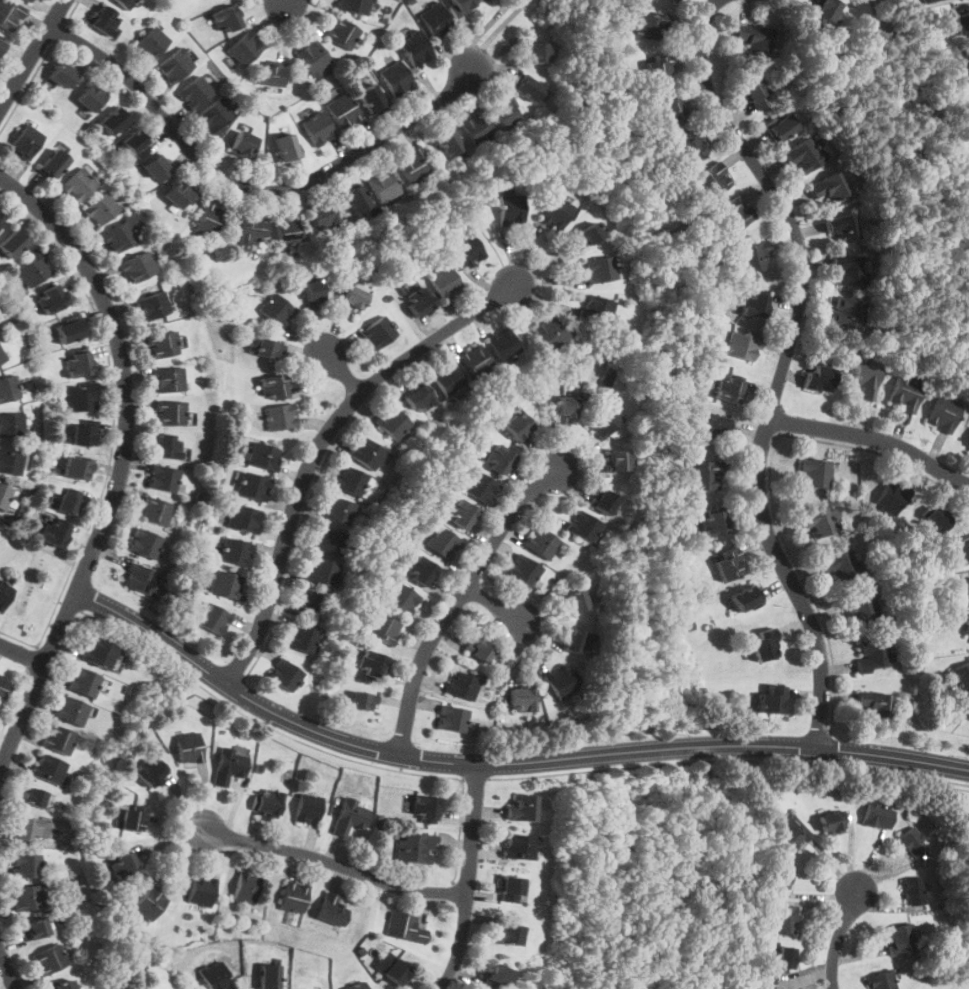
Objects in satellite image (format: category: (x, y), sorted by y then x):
building: (28, 0)
building: (29, 0)
building: (676, 0)
building: (928, 0)
road: (288, 2)
building: (127, 3)
building: (462, 5)
building: (355, 6)
building: (824, 11)
building: (9, 15)
building: (226, 18)
building: (104, 19)
building: (436, 19)
building: (962, 21)
building: (651, 27)
road: (495, 31)
building: (341, 32)
building: (751, 36)
building: (151, 42)
building: (1, 44)
building: (245, 48)
building: (416, 48)
building: (537, 52)
road: (33, 54)
building: (313, 56)
building: (964, 64)
building: (175, 66)
building: (659, 68)
building: (63, 74)
building: (273, 74)
building: (396, 78)
building: (527, 88)
building: (194, 92)
building: (756, 94)
building: (91, 97)
building: (371, 97)
building: (343, 111)
building: (670, 111)
building: (504, 114)
building: (216, 115)
building: (114, 120)
building: (782, 127)
building: (318, 128)
building: (476, 128)
building: (26, 140)
building: (448, 141)
building: (137, 144)
building: (243, 144)
building: (691, 145)
building: (286, 147)
building: (804, 155)
building: (53, 163)
building: (413, 166)
building: (157, 168)
building: (712, 180)
building: (383, 184)
building: (78, 185)
building: (829, 186)
road: (250, 188)
building: (180, 195)
building: (356, 199)
building: (100, 209)
building: (511, 209)
building: (555, 212)
building: (732, 214)
building: (323, 216)
building: (1, 218)
building: (210, 220)
building: (842, 226)
building: (288, 230)
building: (253, 231)
building: (121, 234)
building: (588, 234)
building: (13, 242)
building: (468, 249)
building: (754, 254)
building: (138, 266)
building: (600, 269)
building: (848, 269)
building: (34, 270)
building: (444, 281)
building: (314, 293)
building: (51, 298)
building: (354, 298)
building: (420, 301)
building: (758, 304)
building: (154, 305)
building: (597, 308)
building: (276, 309)
building: (847, 312)
building: (69, 330)
building: (378, 332)
building: (551, 333)
building: (163, 344)
building: (503, 344)
building: (742, 346)
building: (267, 348)
building: (2, 356)
building: (476, 362)
building: (78, 364)
road: (783, 365)
road: (343, 372)
building: (820, 377)
building: (447, 378)
building: (169, 379)
building: (865, 380)
building: (274, 387)
building: (8, 388)
building: (730, 389)
building: (906, 391)
building: (80, 398)
building: (420, 398)
building: (567, 408)
building: (170, 413)
building: (943, 413)
building: (280, 416)
building: (603, 421)
building: (392, 422)
building: (11, 424)
building: (518, 426)
building: (711, 426)
building: (82, 434)
road: (874, 437)
road: (320, 444)
building: (168, 446)
building: (367, 453)
building: (263, 455)
building: (500, 460)
building: (10, 461)
building: (618, 461)
road: (123, 466)
building: (77, 468)
building: (814, 473)
building: (705, 475)
building: (163, 478)
building: (349, 480)
building: (253, 486)
building: (481, 488)
building: (72, 492)
building: (4, 496)
building: (891, 498)
building: (604, 502)
building: (69, 503)
building: (338, 510)
building: (156, 511)
building: (461, 513)
building: (244, 518)
building: (934, 520)
building: (820, 521)
building: (714, 523)
building: (584, 527)
building: (54, 532)
building: (328, 541)
building: (443, 542)
building: (145, 543)
building: (542, 543)
building: (962, 551)
building: (237, 552)
building: (729, 564)
building: (841, 565)
building: (523, 570)
building: (422, 571)
building: (321, 572)
building: (139, 578)
building: (226, 584)
building: (962, 591)
building: (5, 594)
building: (746, 598)
building: (402, 599)
road: (457, 599)
building: (574, 601)
building: (313, 603)
road: (494, 604)
building: (861, 610)
building: (214, 618)
building: (968, 624)
building: (382, 628)
building: (301, 638)
building: (577, 640)
building: (765, 644)
building: (480, 650)
building: (99, 653)
road: (22, 654)
building: (872, 655)
building: (372, 663)
building: (284, 674)
building: (961, 677)
building: (83, 682)
building: (561, 682)
building: (463, 685)
building: (3, 688)
building: (362, 700)
building: (522, 700)
building: (773, 700)
building: (875, 703)
building: (71, 711)
building: (452, 718)
building: (59, 739)
building: (189, 748)
road: (503, 763)
building: (229, 766)
building: (48, 767)
building: (150, 771)
building: (33, 797)
building: (269, 802)
building: (308, 808)
building: (426, 808)
building: (522, 809)
building: (878, 815)
building: (350, 816)
building: (133, 817)
building: (832, 822)
building: (27, 828)
building: (791, 835)
building: (913, 843)
building: (519, 847)
building: (415, 848)
building: (26, 865)
road: (339, 865)
building: (124, 866)
building: (780, 878)
road: (472, 879)
building: (247, 887)
building: (513, 889)
building: (202, 890)
building: (914, 890)
building: (27, 897)
building: (293, 897)
building: (150, 903)
building: (332, 909)
building: (786, 920)
building: (405, 927)
building: (34, 930)
building: (509, 934)
road: (839, 938)
building: (901, 939)
building: (49, 959)
building: (786, 959)
building: (395, 968)
road: (8, 969)
building: (215, 976)
building: (269, 976)
building: (496, 977)
building: (880, 981)
building: (62, 984)
building: (357, 985)

